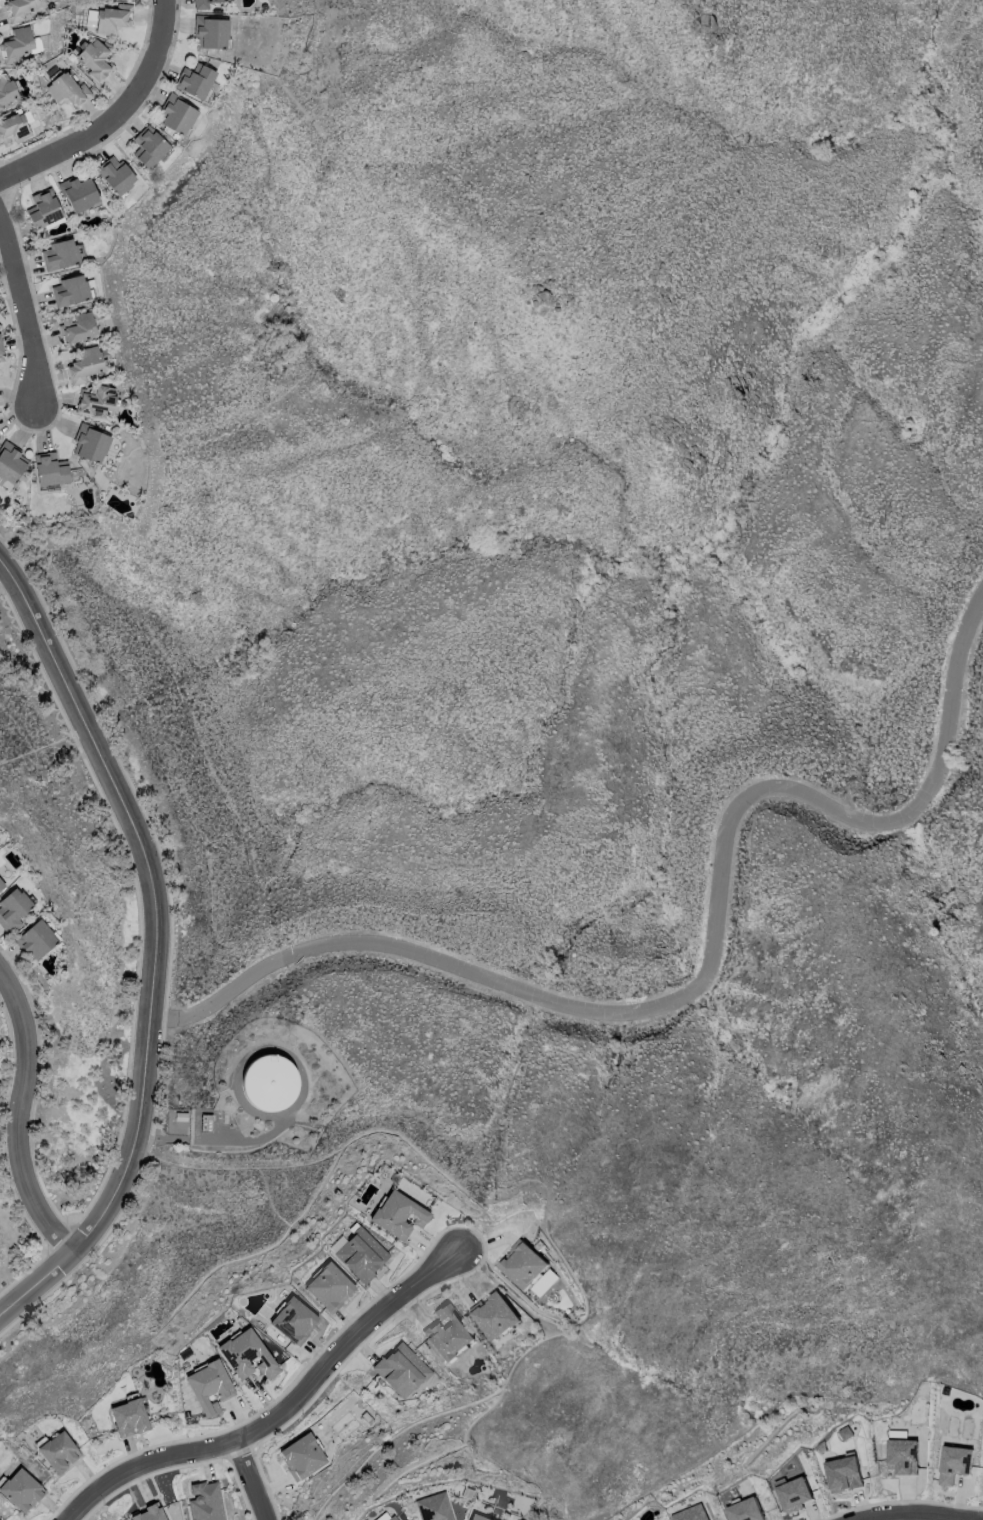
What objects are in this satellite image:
building: (206, 3)
building: (20, 8)
building: (110, 18)
building: (213, 32)
building: (17, 45)
building: (94, 61)
building: (194, 76)
building: (67, 89)
building: (8, 90)
building: (177, 111)
road: (115, 117)
building: (16, 128)
building: (148, 143)
building: (114, 172)
building: (78, 190)
building: (42, 207)
building: (58, 251)
building: (70, 288)
road: (24, 311)
building: (76, 324)
building: (0, 349)
building: (83, 361)
building: (95, 398)
building: (89, 440)
building: (10, 461)
building: (48, 468)
building: (2, 886)
road: (154, 897)
building: (14, 910)
building: (38, 940)
road: (702, 973)
building: (268, 1082)
road: (20, 1115)
building: (398, 1215)
building: (361, 1254)
building: (523, 1266)
road: (37, 1283)
building: (330, 1289)
building: (495, 1317)
building: (294, 1322)
building: (449, 1333)
building: (247, 1356)
building: (401, 1369)
building: (210, 1387)
road: (279, 1411)
building: (130, 1418)
building: (58, 1451)
building: (902, 1454)
building: (302, 1457)
building: (955, 1464)
building: (843, 1473)
road: (249, 1480)
building: (21, 1489)
building: (794, 1493)
building: (206, 1500)
building: (435, 1507)
building: (745, 1510)
building: (149, 1513)
building: (691, 1513)
road: (914, 1514)
building: (387, 1516)
building: (477, 1517)
building: (0, 1519)

